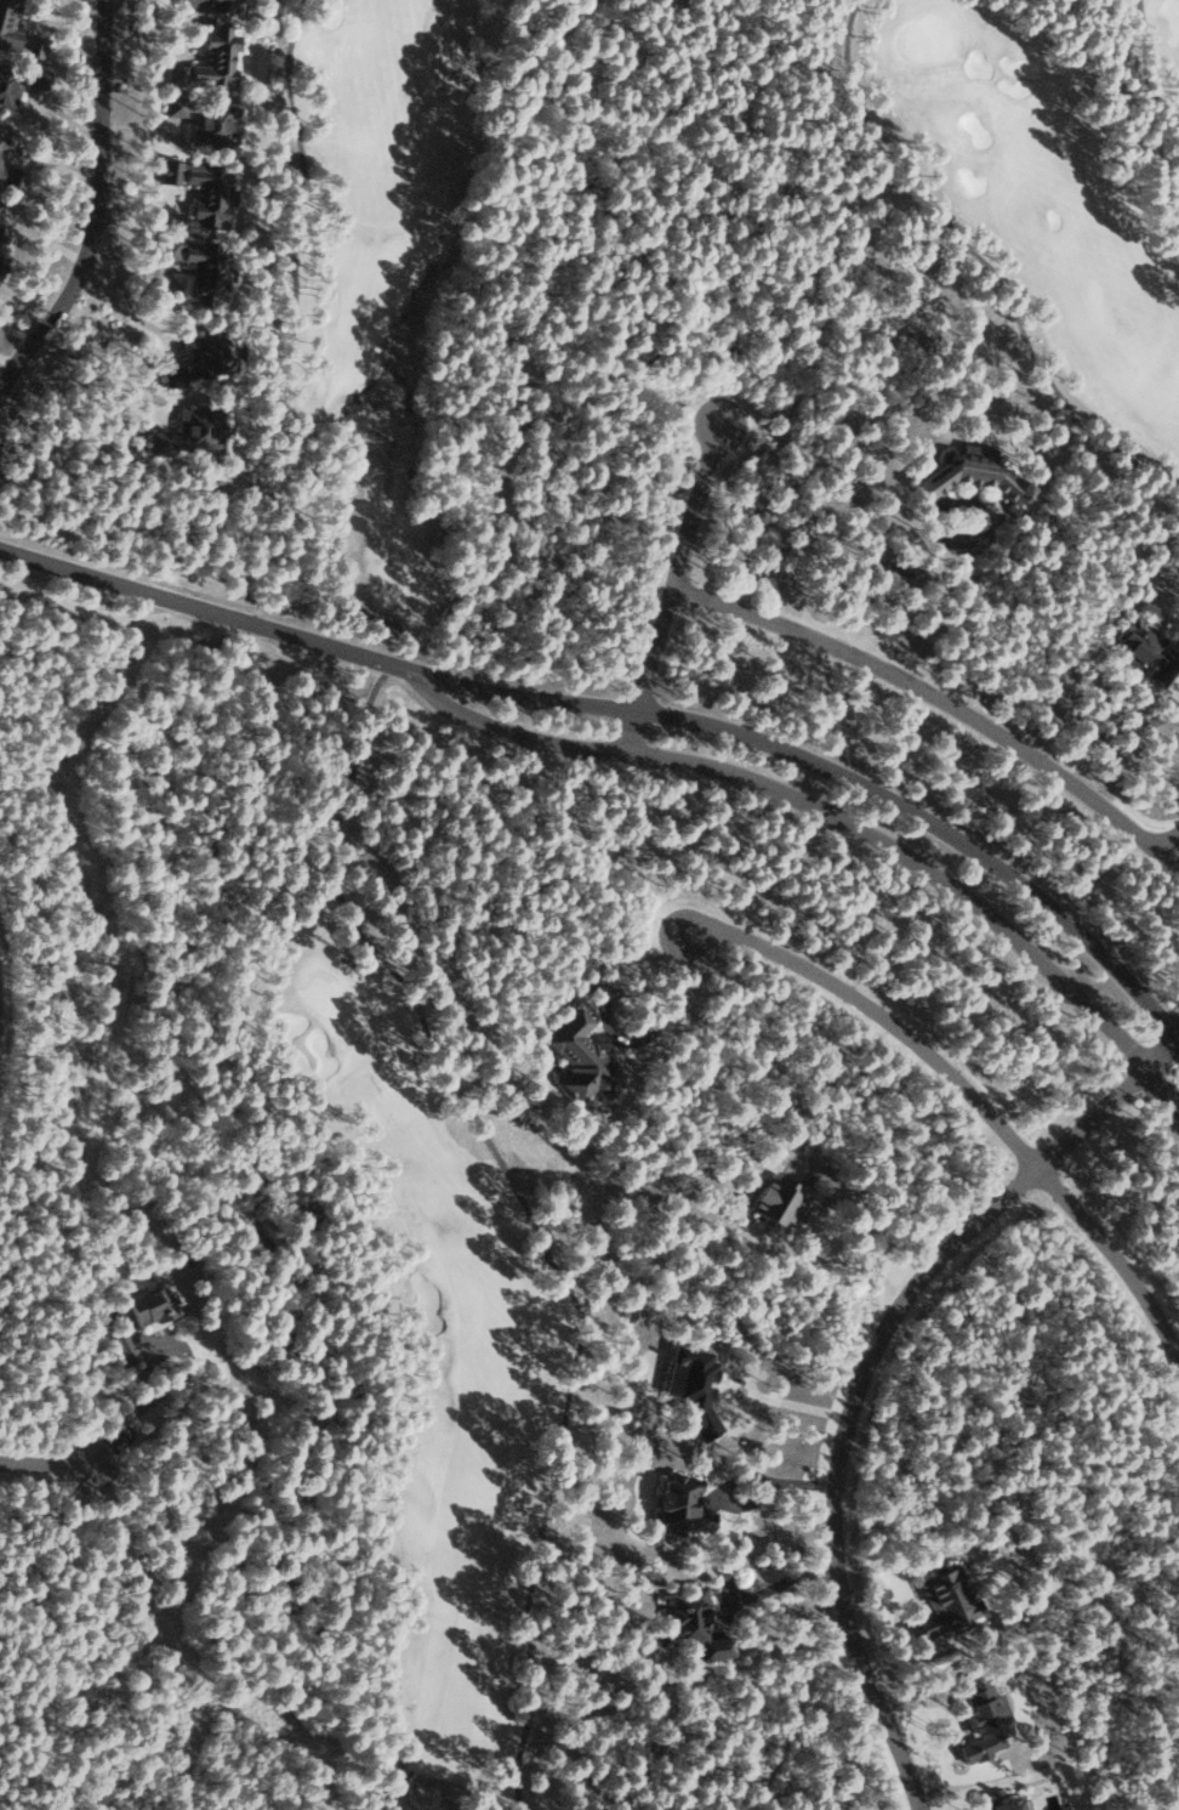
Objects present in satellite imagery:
building: (209, 4)
building: (2, 13)
building: (30, 45)
building: (209, 59)
building: (8, 85)
building: (173, 104)
building: (209, 124)
building: (1, 143)
building: (11, 174)
building: (199, 187)
park: (1042, 191)
road: (93, 206)
building: (2, 236)
building: (0, 261)
building: (194, 266)
building: (196, 361)
building: (189, 433)
building: (969, 475)
road: (678, 585)
road: (217, 612)
building: (1147, 651)
road: (940, 696)
road: (847, 775)
road: (841, 817)
park: (327, 910)
building: (580, 1057)
road: (967, 1084)
building: (776, 1202)
building: (146, 1306)
building: (124, 1346)
road: (870, 1372)
building: (693, 1388)
road: (49, 1463)
road: (747, 1477)
building: (679, 1503)
building: (944, 1601)
building: (693, 1623)
building: (1002, 1803)

